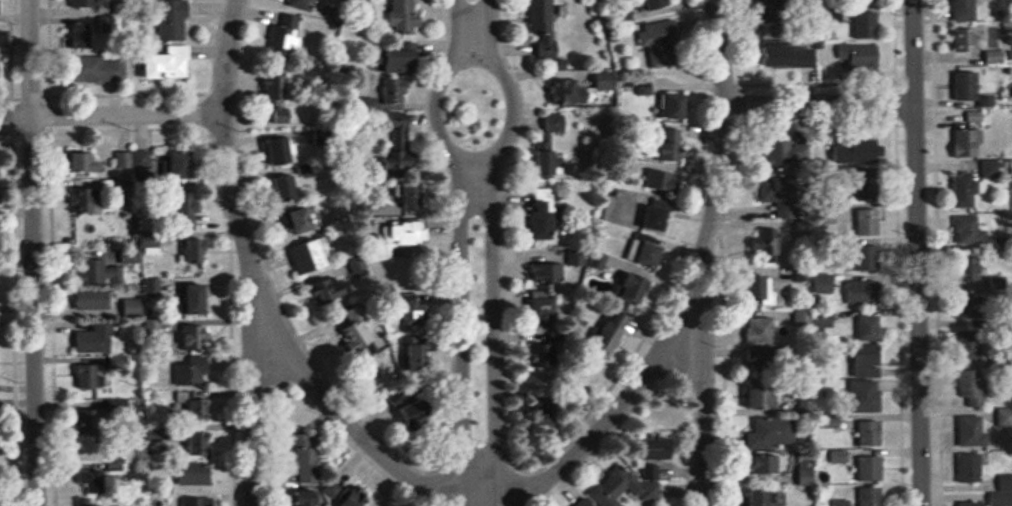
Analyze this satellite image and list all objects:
building: (865, 1)
building: (83, 4)
building: (302, 4)
building: (656, 4)
building: (965, 9)
building: (773, 15)
building: (405, 17)
building: (173, 20)
building: (867, 24)
building: (550, 32)
building: (84, 34)
building: (284, 34)
building: (962, 39)
building: (659, 41)
building: (789, 55)
building: (859, 55)
building: (170, 61)
building: (404, 61)
building: (85, 70)
building: (966, 86)
building: (276, 87)
building: (585, 91)
building: (390, 92)
building: (676, 105)
road: (819, 105)
road: (113, 116)
building: (970, 139)
building: (548, 140)
building: (671, 145)
building: (286, 150)
building: (856, 151)
building: (131, 153)
building: (398, 153)
building: (796, 153)
building: (88, 160)
building: (185, 164)
building: (0, 165)
building: (294, 185)
building: (967, 189)
building: (408, 195)
building: (90, 198)
building: (192, 201)
building: (660, 217)
building: (304, 220)
building: (868, 221)
building: (546, 222)
building: (968, 229)
building: (406, 233)
road: (458, 246)
road: (495, 247)
building: (192, 250)
road: (246, 251)
road: (703, 251)
road: (32, 252)
building: (650, 253)
road: (916, 253)
building: (312, 256)
building: (868, 257)
building: (358, 266)
building: (973, 268)
building: (101, 271)
building: (561, 271)
building: (823, 282)
building: (865, 282)
building: (642, 288)
building: (763, 289)
building: (199, 297)
building: (93, 299)
building: (132, 306)
building: (409, 307)
building: (548, 309)
building: (814, 318)
building: (975, 319)
building: (0, 321)
building: (869, 329)
building: (761, 330)
building: (612, 331)
building: (193, 335)
building: (97, 338)
building: (554, 353)
building: (869, 361)
building: (199, 371)
building: (99, 376)
building: (973, 389)
building: (758, 395)
building: (867, 397)
road: (628, 400)
road: (346, 425)
building: (971, 432)
building: (772, 433)
building: (870, 433)
building: (307, 455)
building: (761, 465)
building: (970, 468)
building: (871, 469)
building: (653, 470)
building: (197, 474)
building: (615, 487)
building: (1003, 492)
building: (873, 496)
building: (305, 498)
building: (761, 498)
building: (208, 501)
building: (354, 501)
building: (585, 502)
building: (93, 503)
building: (973, 504)

